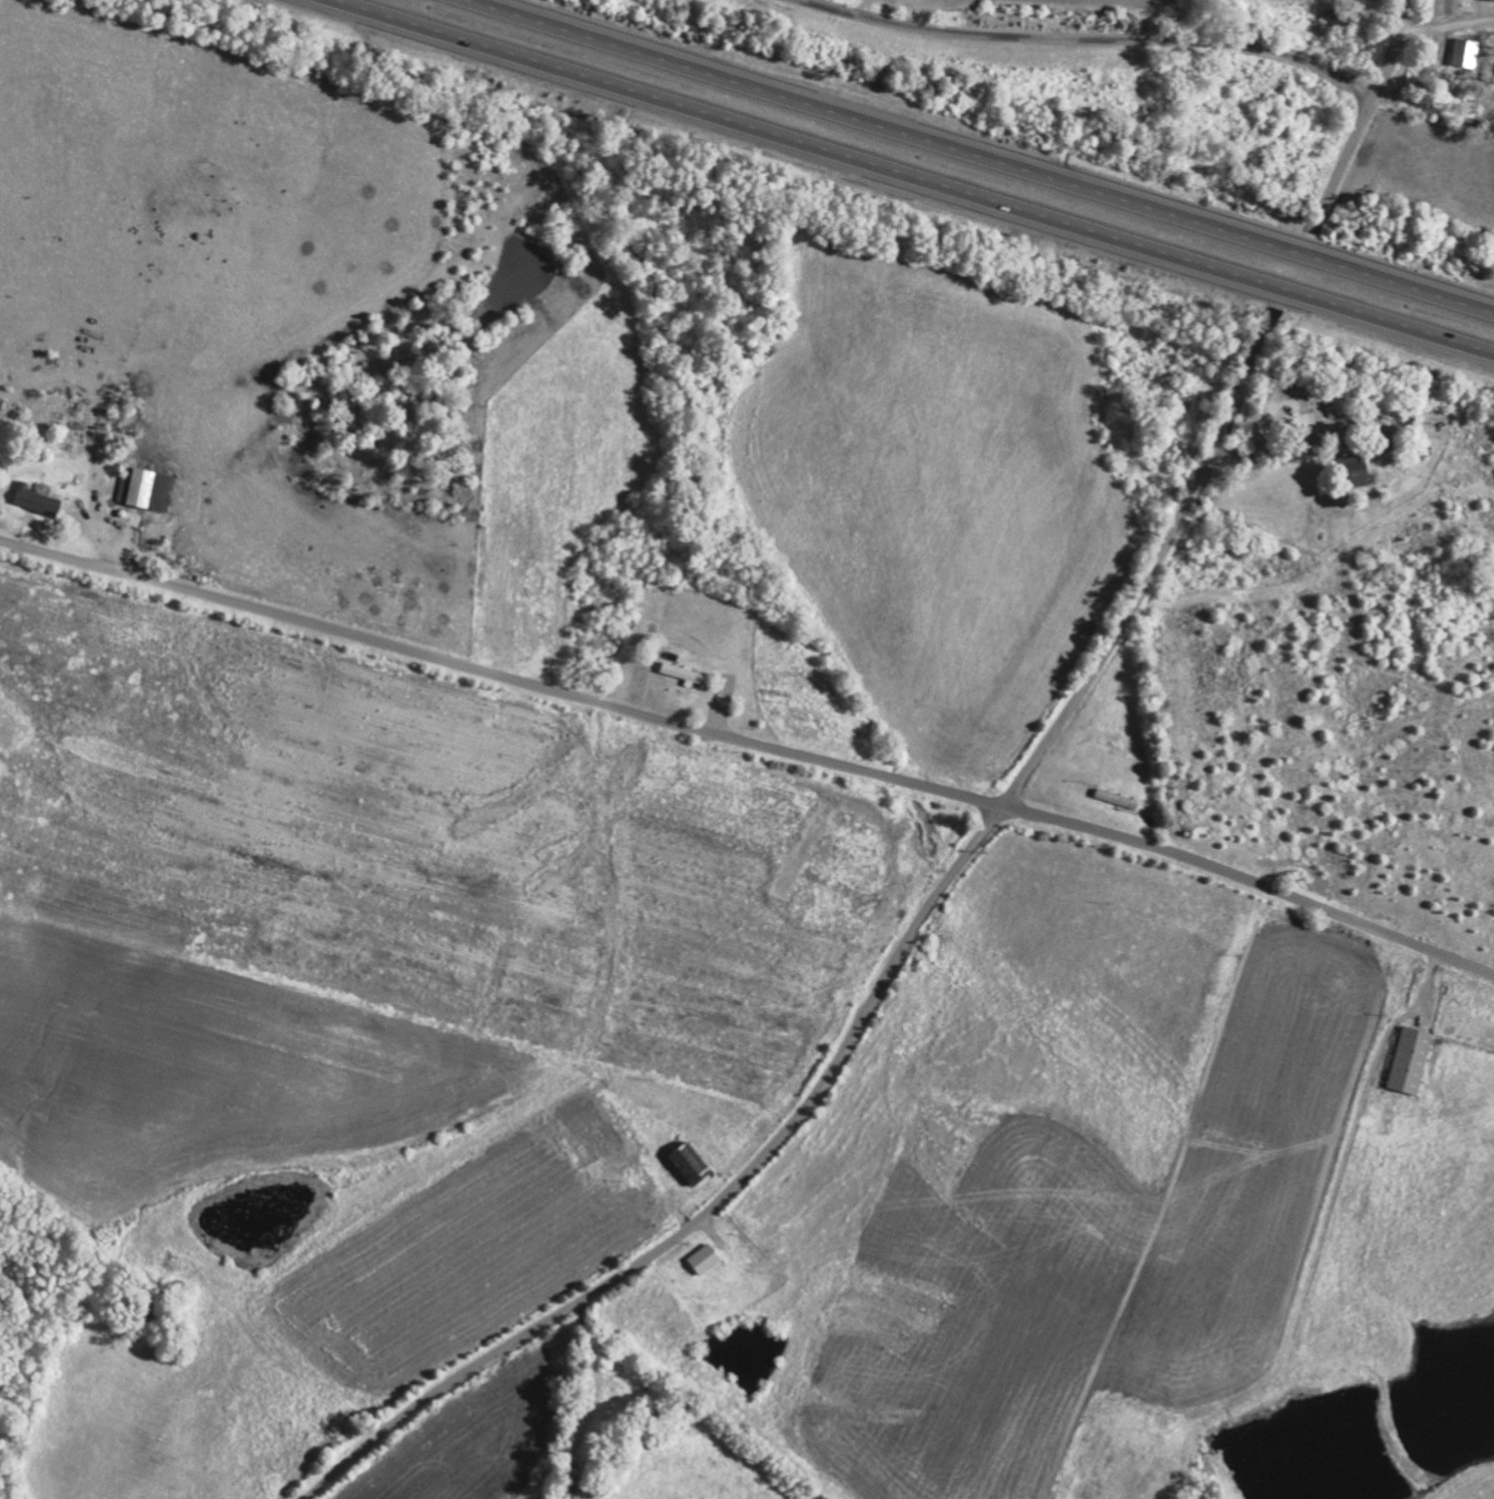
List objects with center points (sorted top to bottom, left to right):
road: (1087, 40)
building: (1466, 52)
road: (1365, 114)
road: (984, 155)
road: (917, 176)
building: (1355, 468)
building: (148, 489)
building: (37, 499)
building: (683, 672)
road: (752, 744)
road: (878, 988)
building: (1410, 1060)
building: (690, 1163)
building: (705, 1259)

